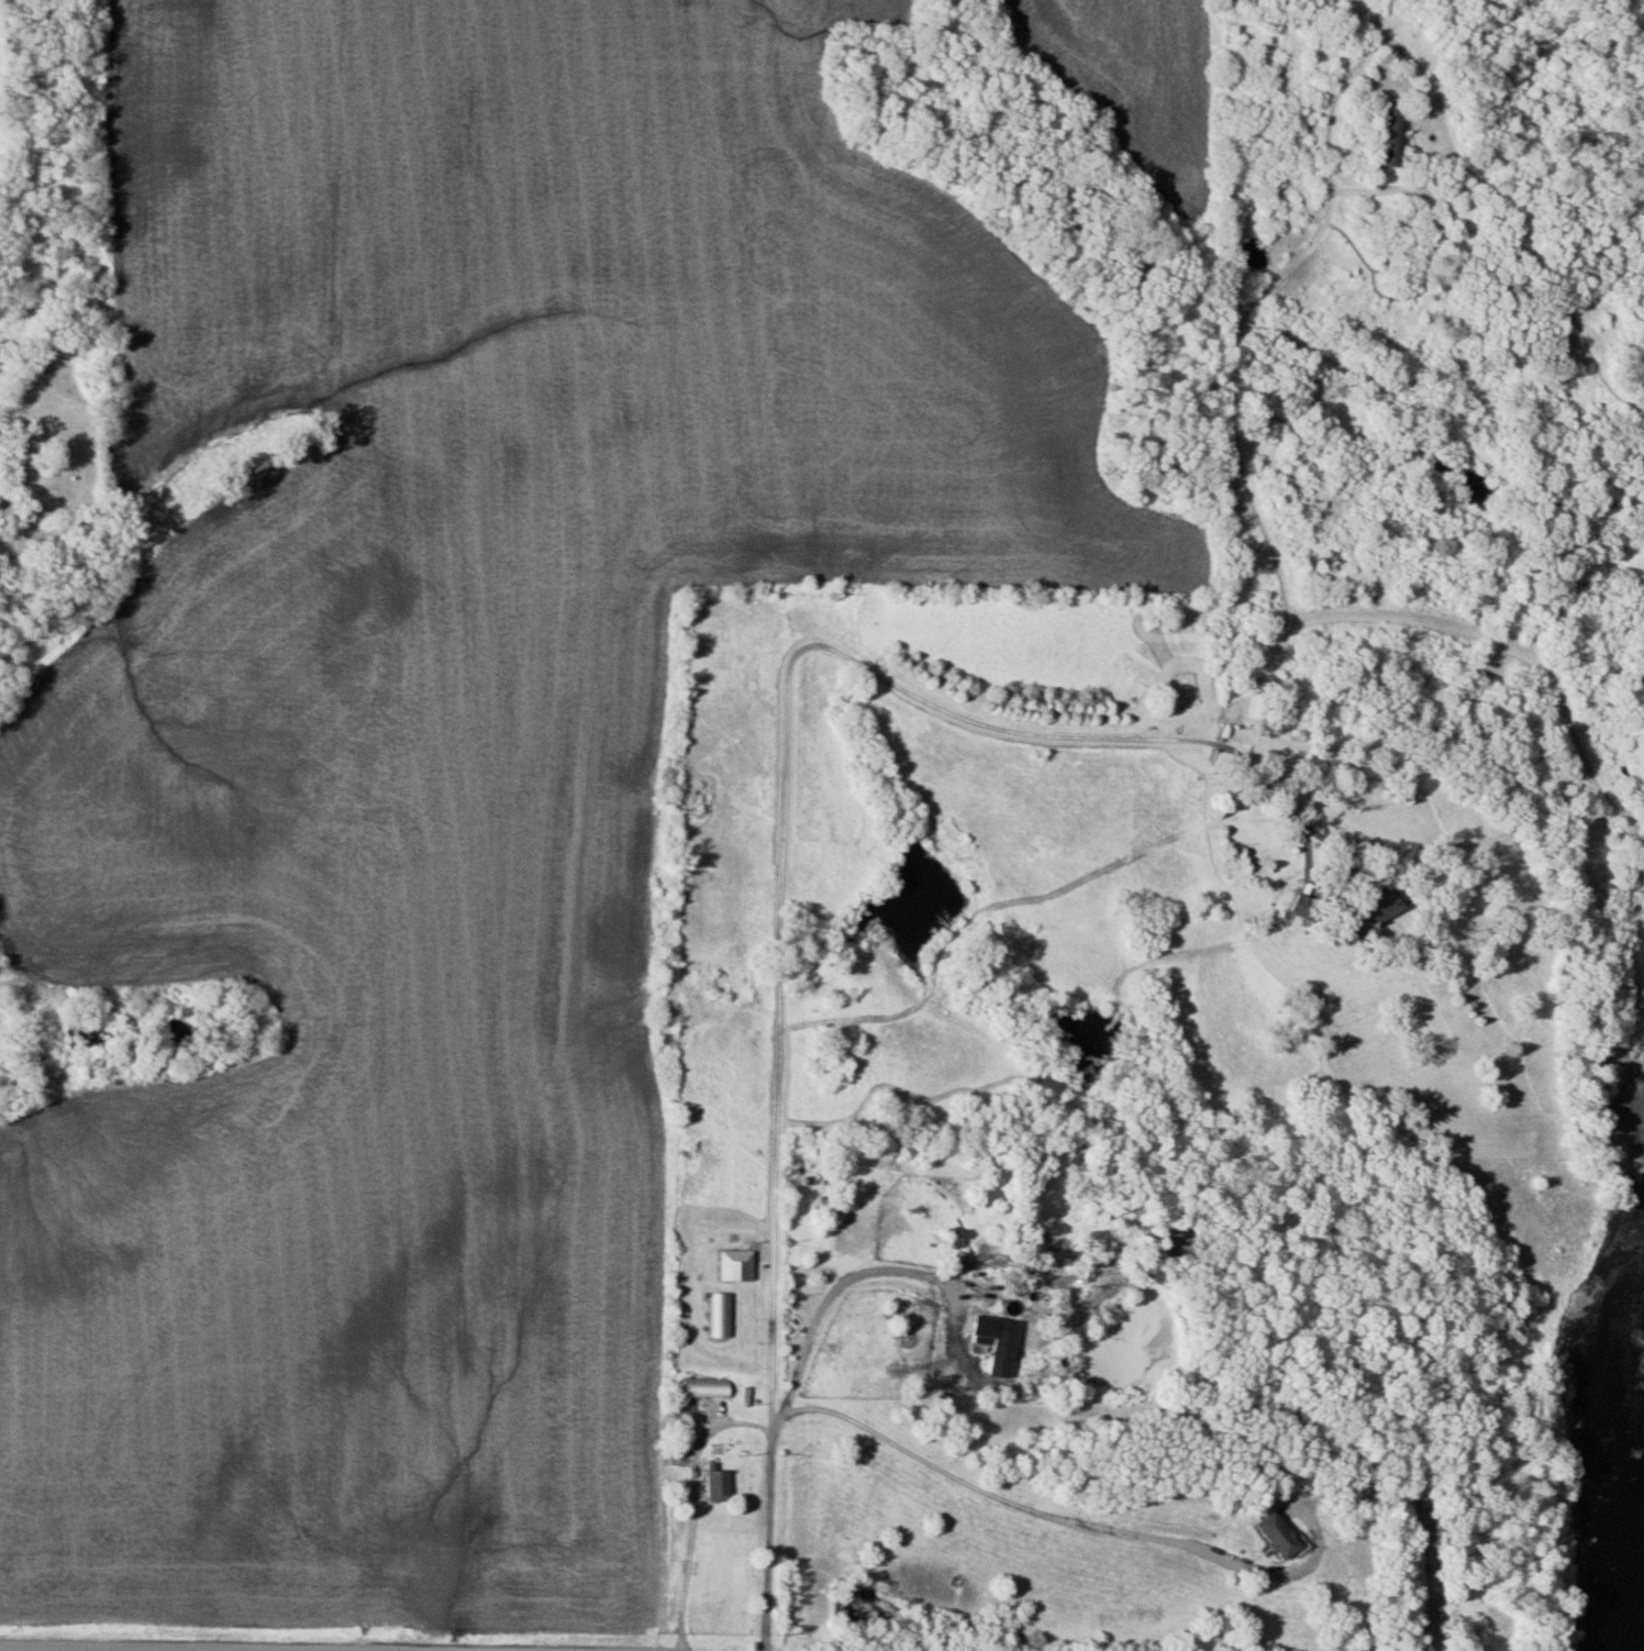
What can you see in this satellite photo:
building: (1385, 141)
building: (1365, 916)
road: (781, 949)
building: (730, 1265)
road: (835, 1297)
building: (714, 1315)
building: (698, 1387)
building: (707, 1483)
road: (1040, 1516)
building: (1268, 1534)
road: (1420, 1577)
road: (282, 1650)

